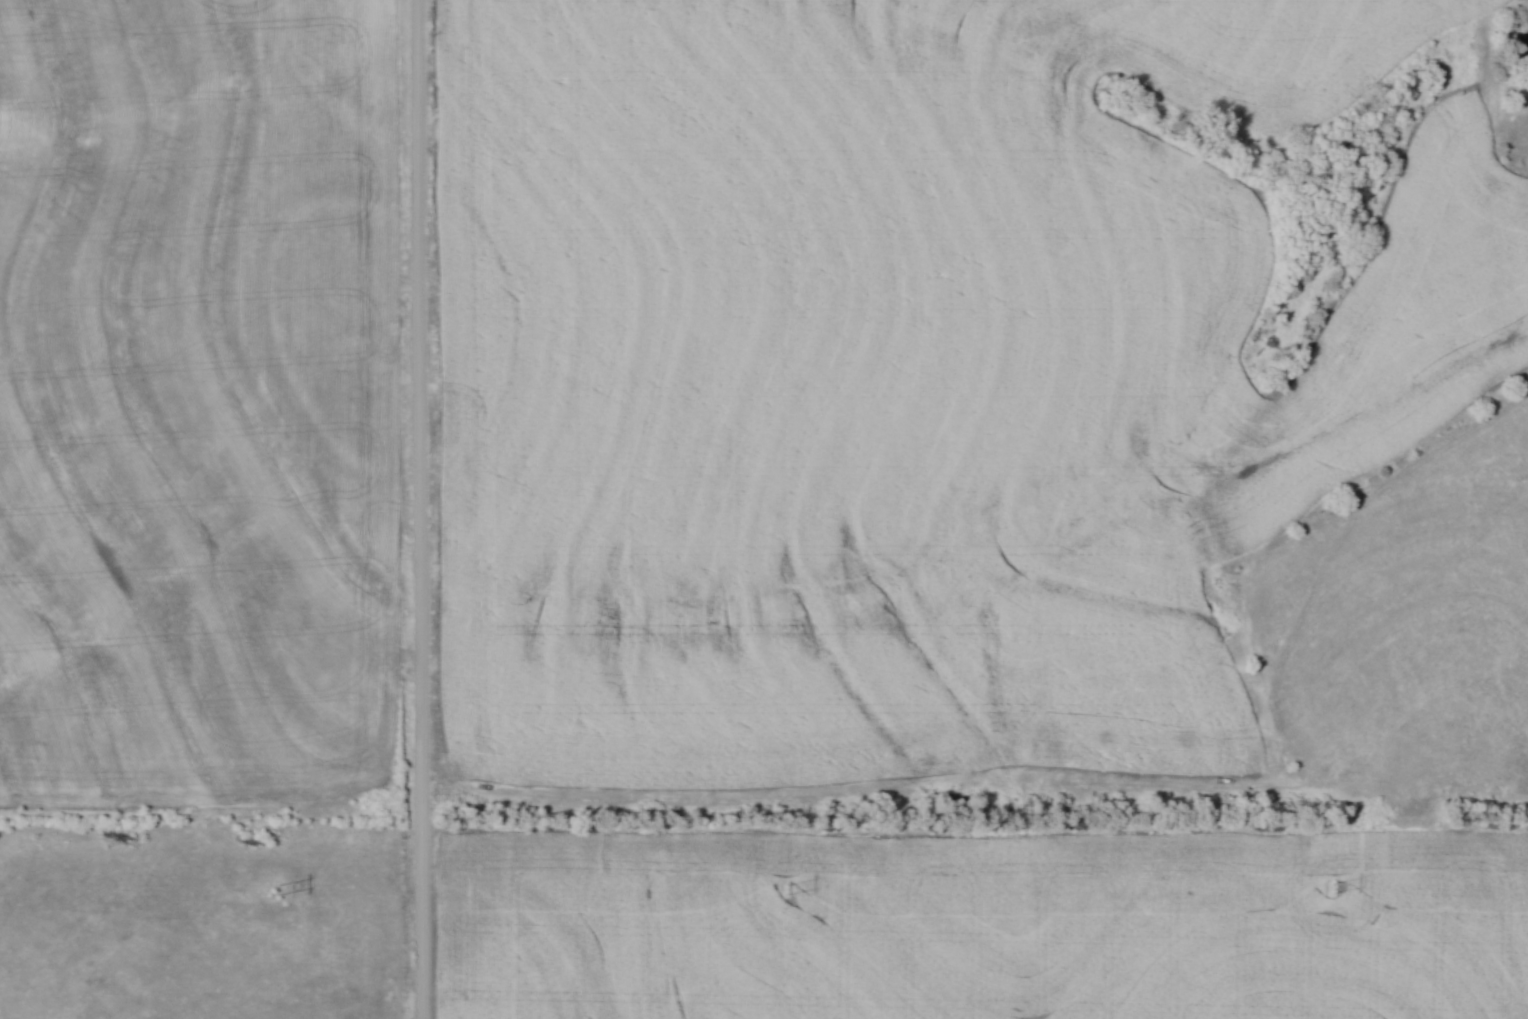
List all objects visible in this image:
road: (424, 509)
power tower: (1333, 888)
power tower: (275, 889)
power tower: (786, 889)

